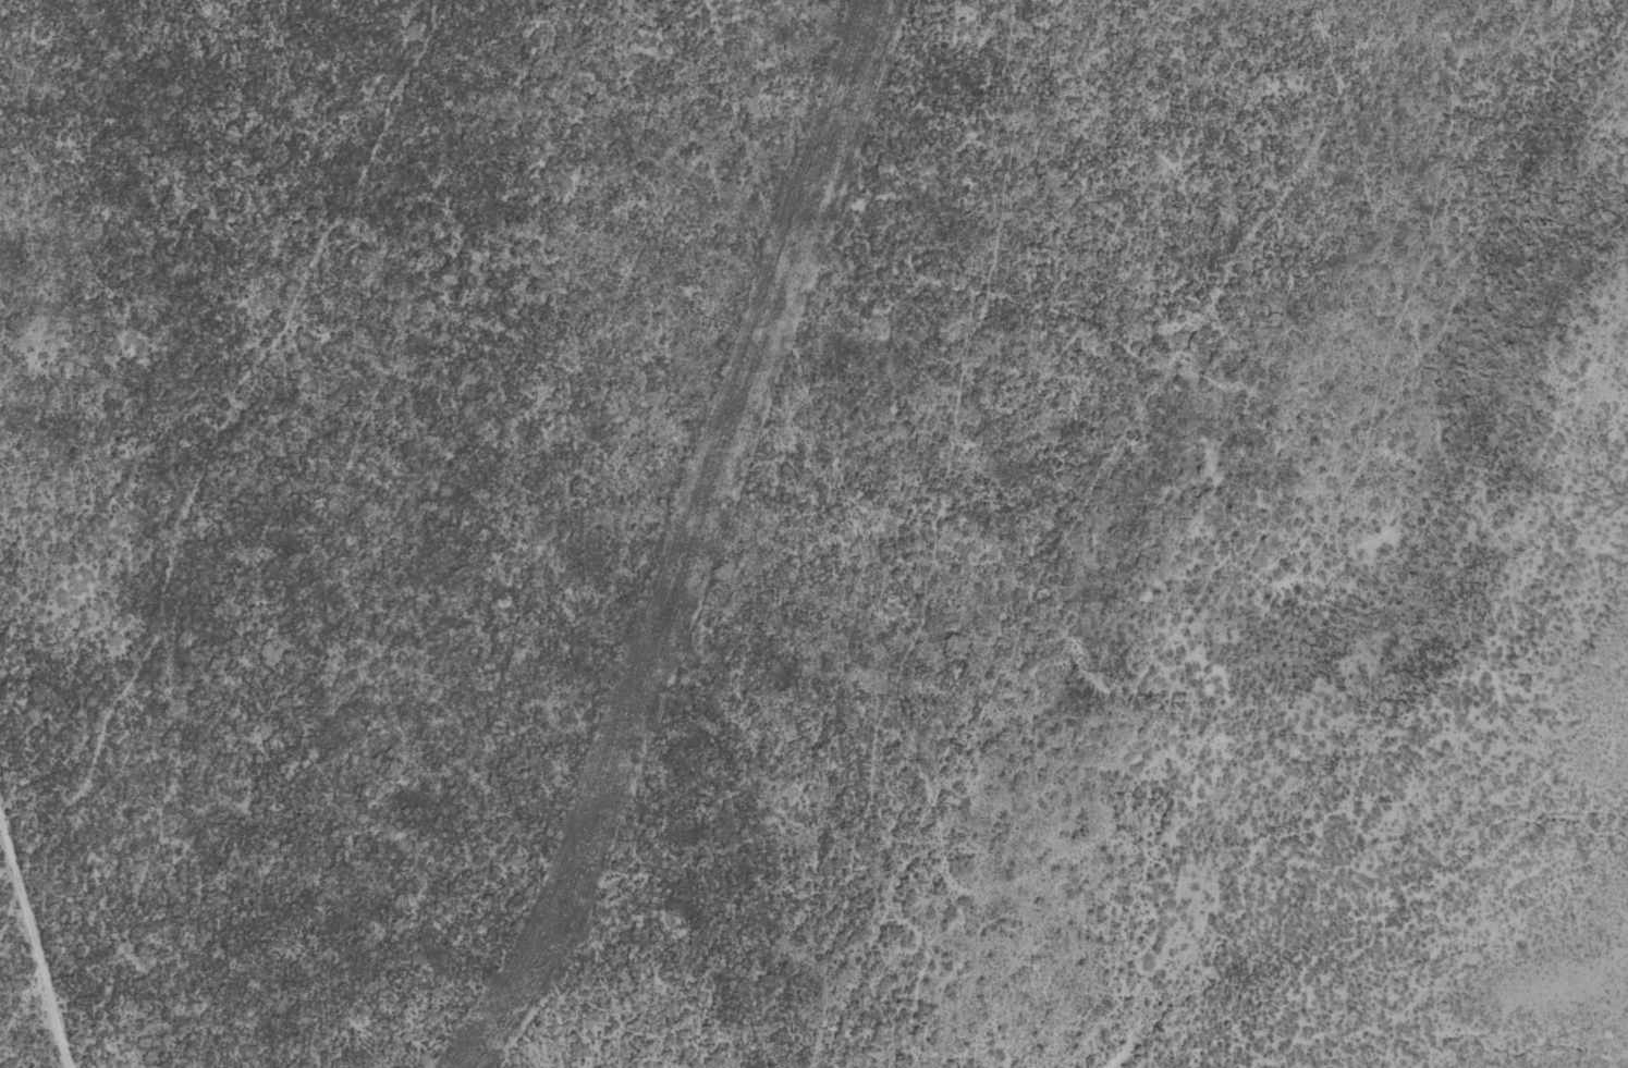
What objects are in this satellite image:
road: (50, 881)

